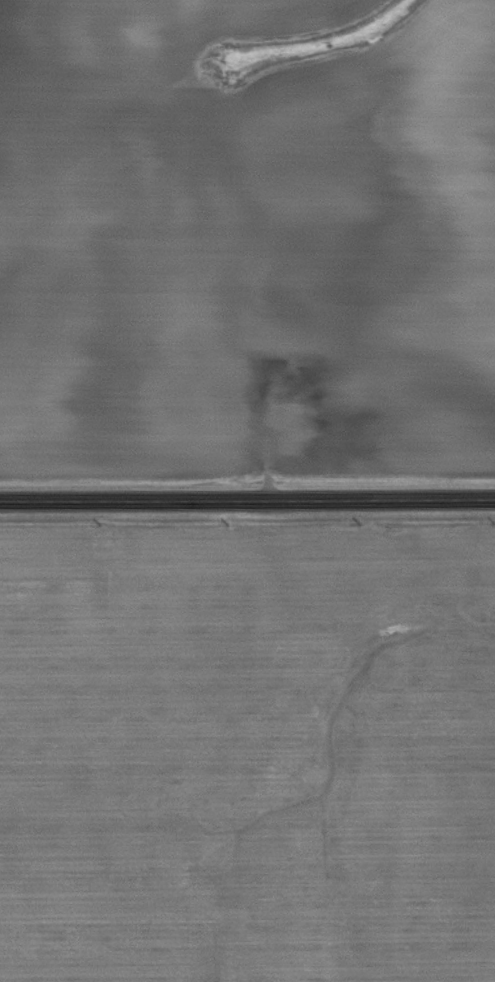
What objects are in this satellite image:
road: (247, 499)

